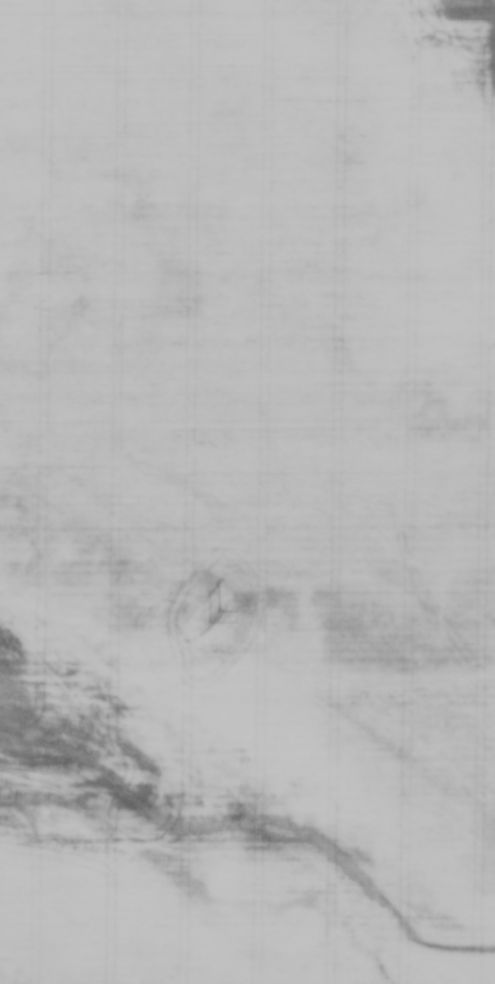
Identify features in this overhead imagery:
power tower: (212, 617)

